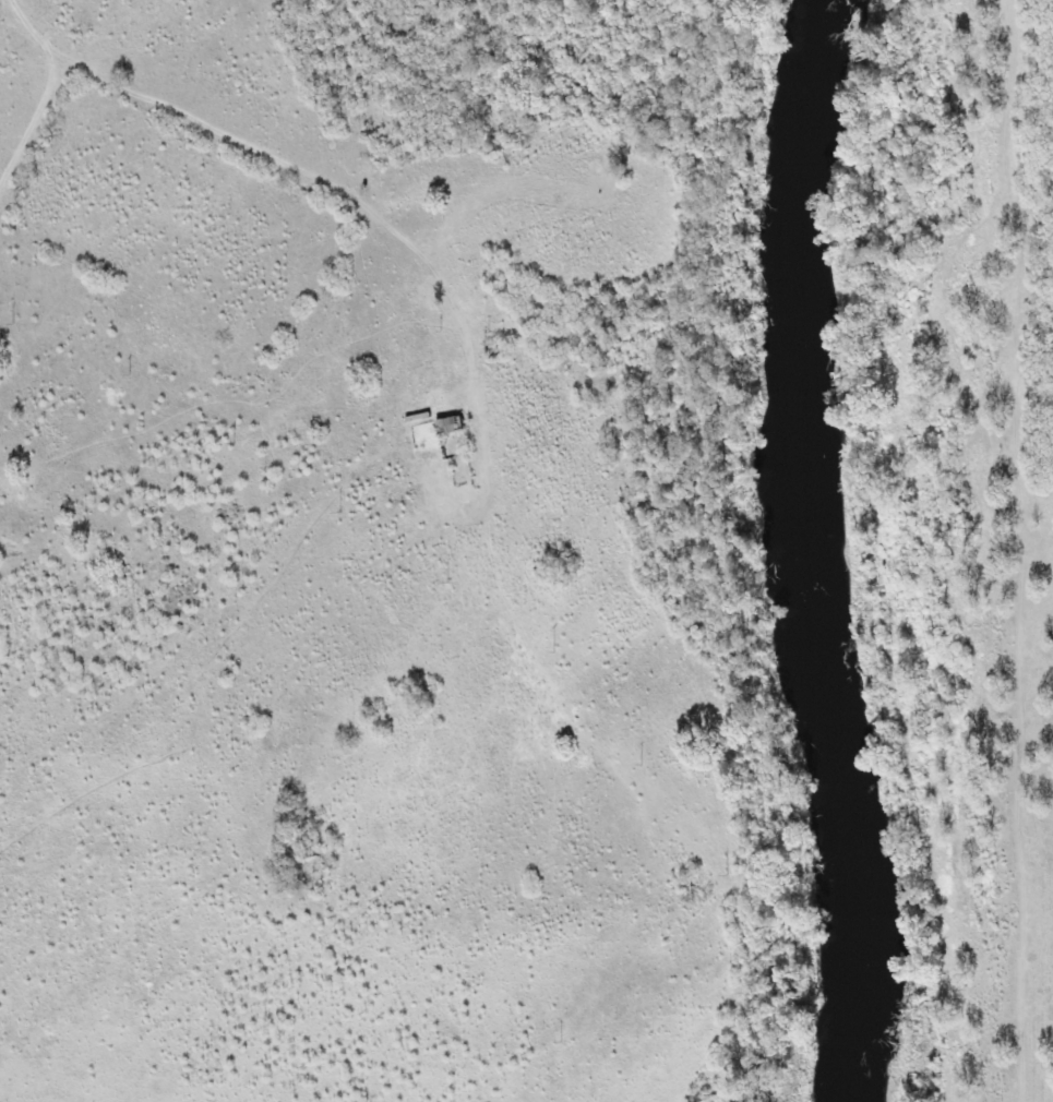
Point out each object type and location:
road: (1050, 351)
river: (800, 551)

